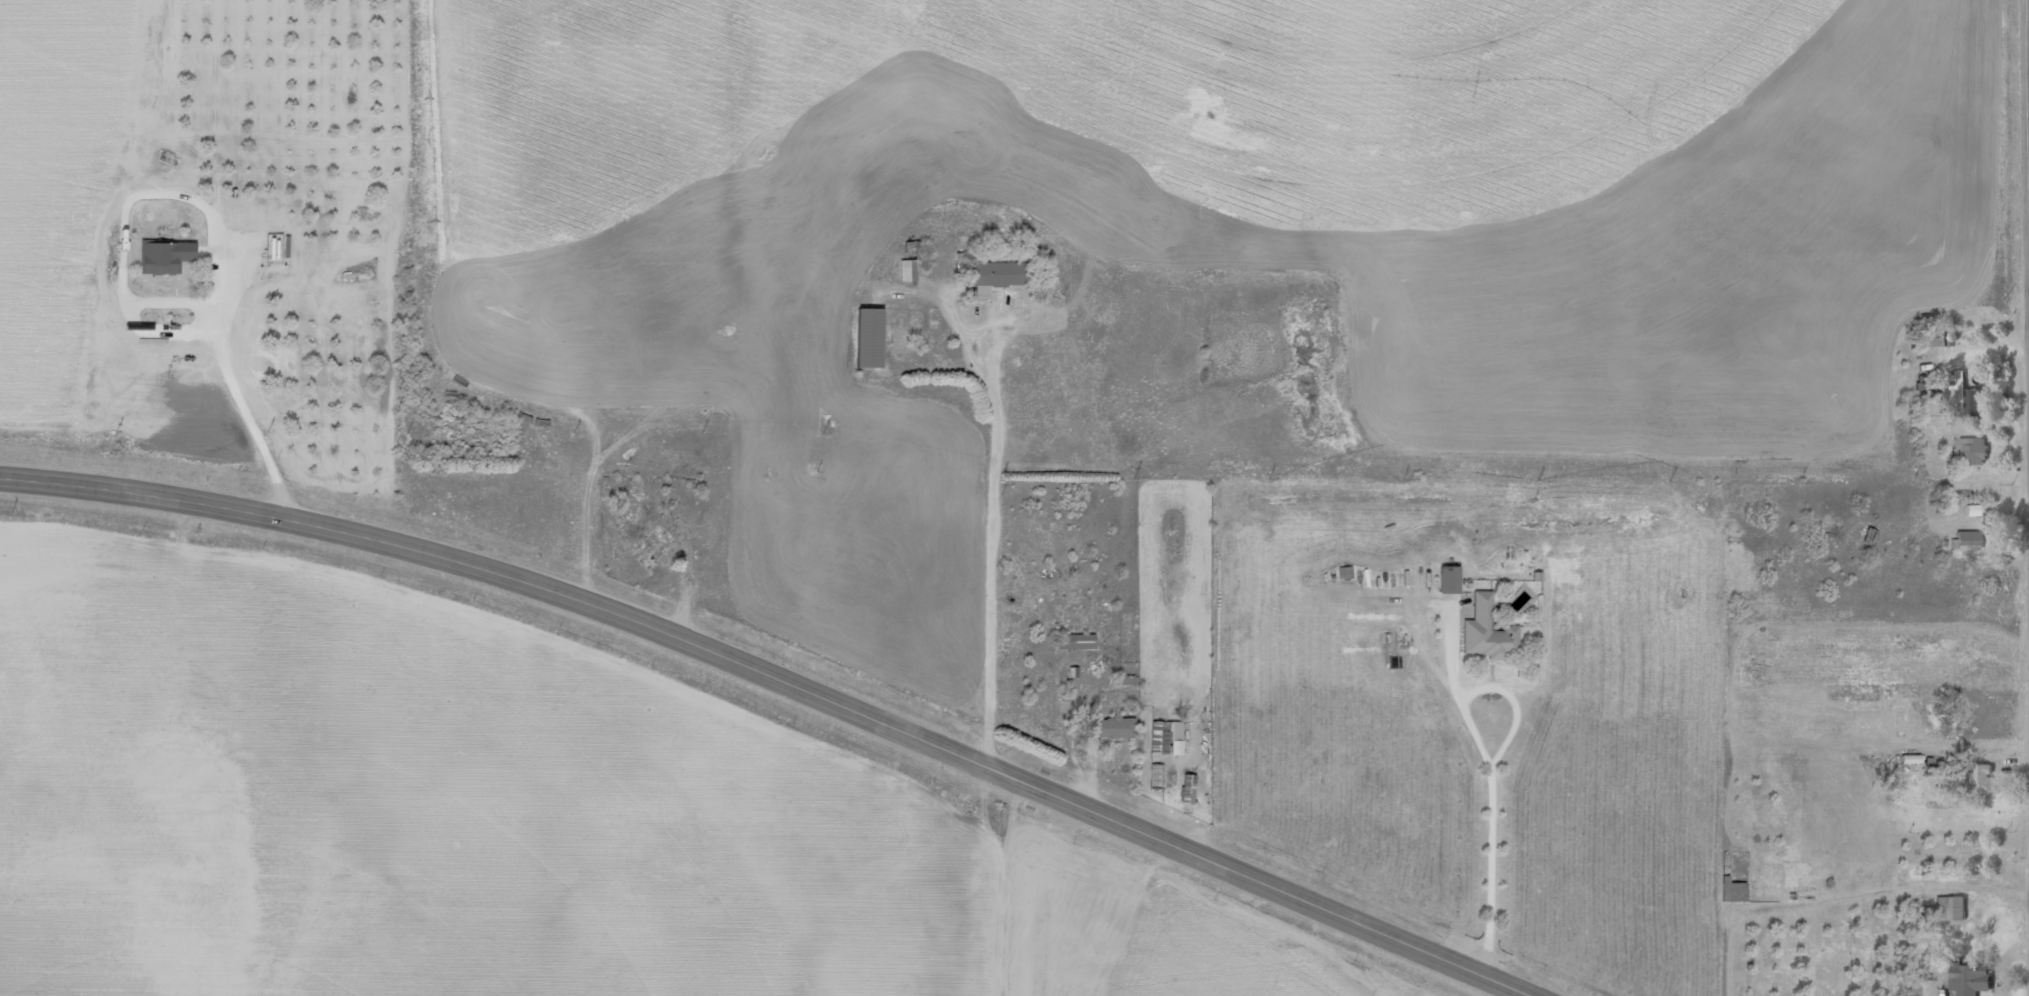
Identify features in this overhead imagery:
road: (2027, 154)
building: (166, 255)
building: (909, 270)
building: (1000, 274)
road: (2028, 308)
building: (870, 338)
building: (1935, 339)
road: (2028, 360)
building: (1924, 383)
building: (1972, 398)
building: (1969, 450)
building: (1871, 536)
building: (1968, 539)
road: (999, 566)
building: (1488, 631)
building: (1076, 641)
road: (788, 681)
building: (1117, 728)
building: (1176, 738)
road: (1471, 765)
building: (1982, 777)
building: (1188, 789)
building: (1733, 889)
building: (1955, 907)
building: (1973, 979)

